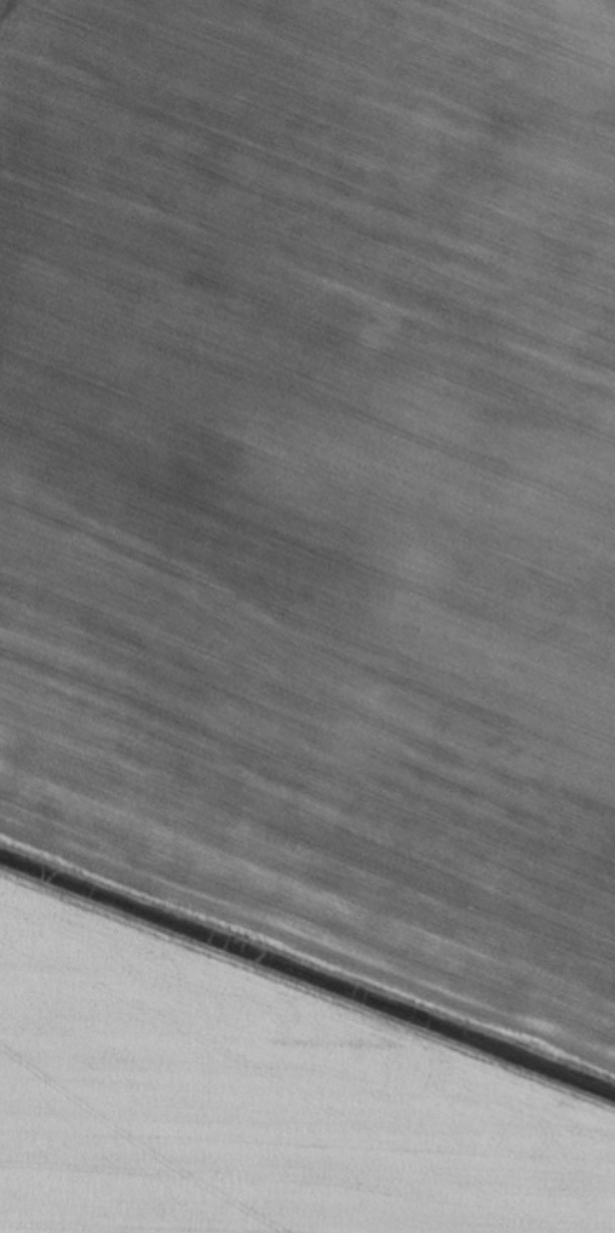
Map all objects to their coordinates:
road: (306, 974)

